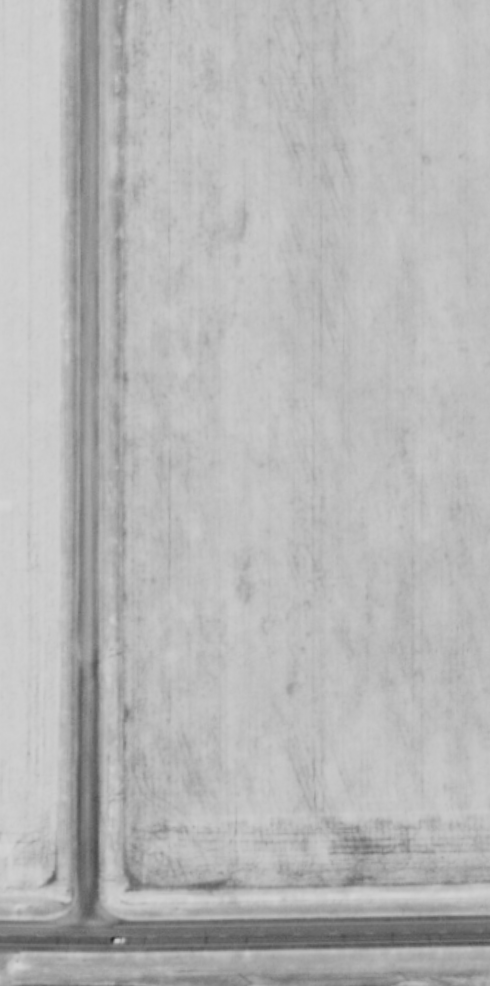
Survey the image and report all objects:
crop: (29, 435)
crop: (306, 445)
road: (85, 469)
road: (244, 937)
crop: (300, 981)

